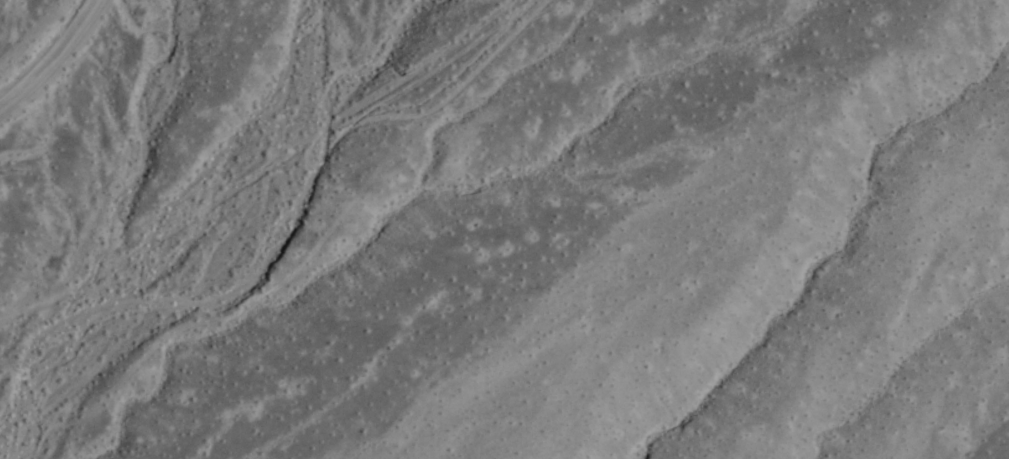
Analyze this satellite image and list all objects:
road: (56, 60)

